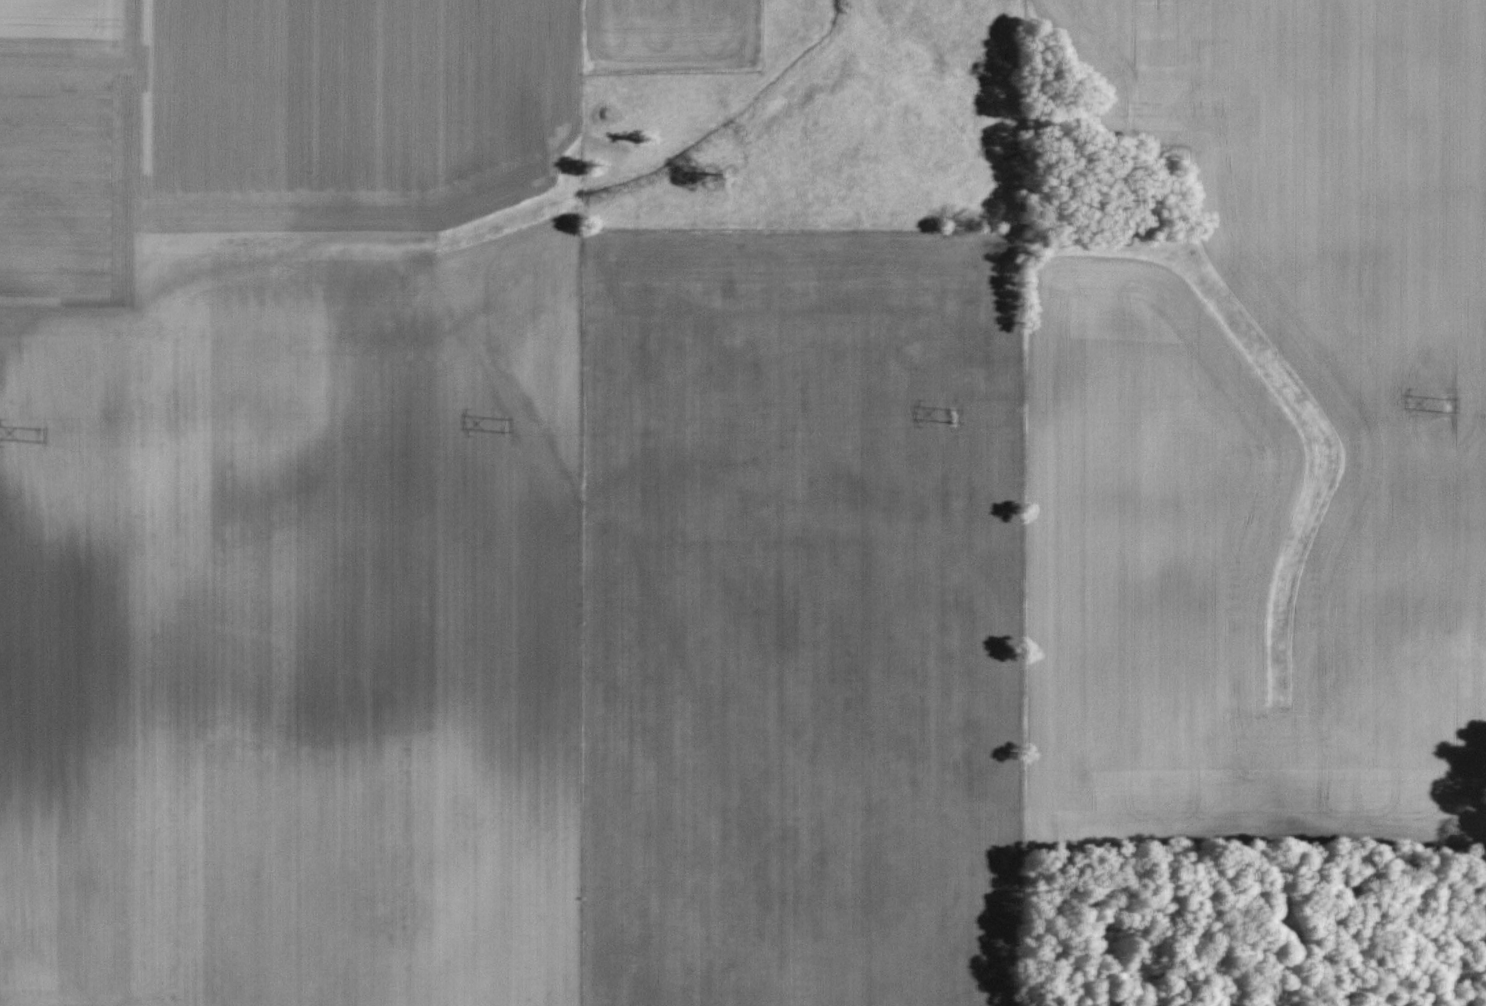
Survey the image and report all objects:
power tower: (1448, 405)
power tower: (953, 415)
power tower: (503, 426)
power tower: (40, 435)

